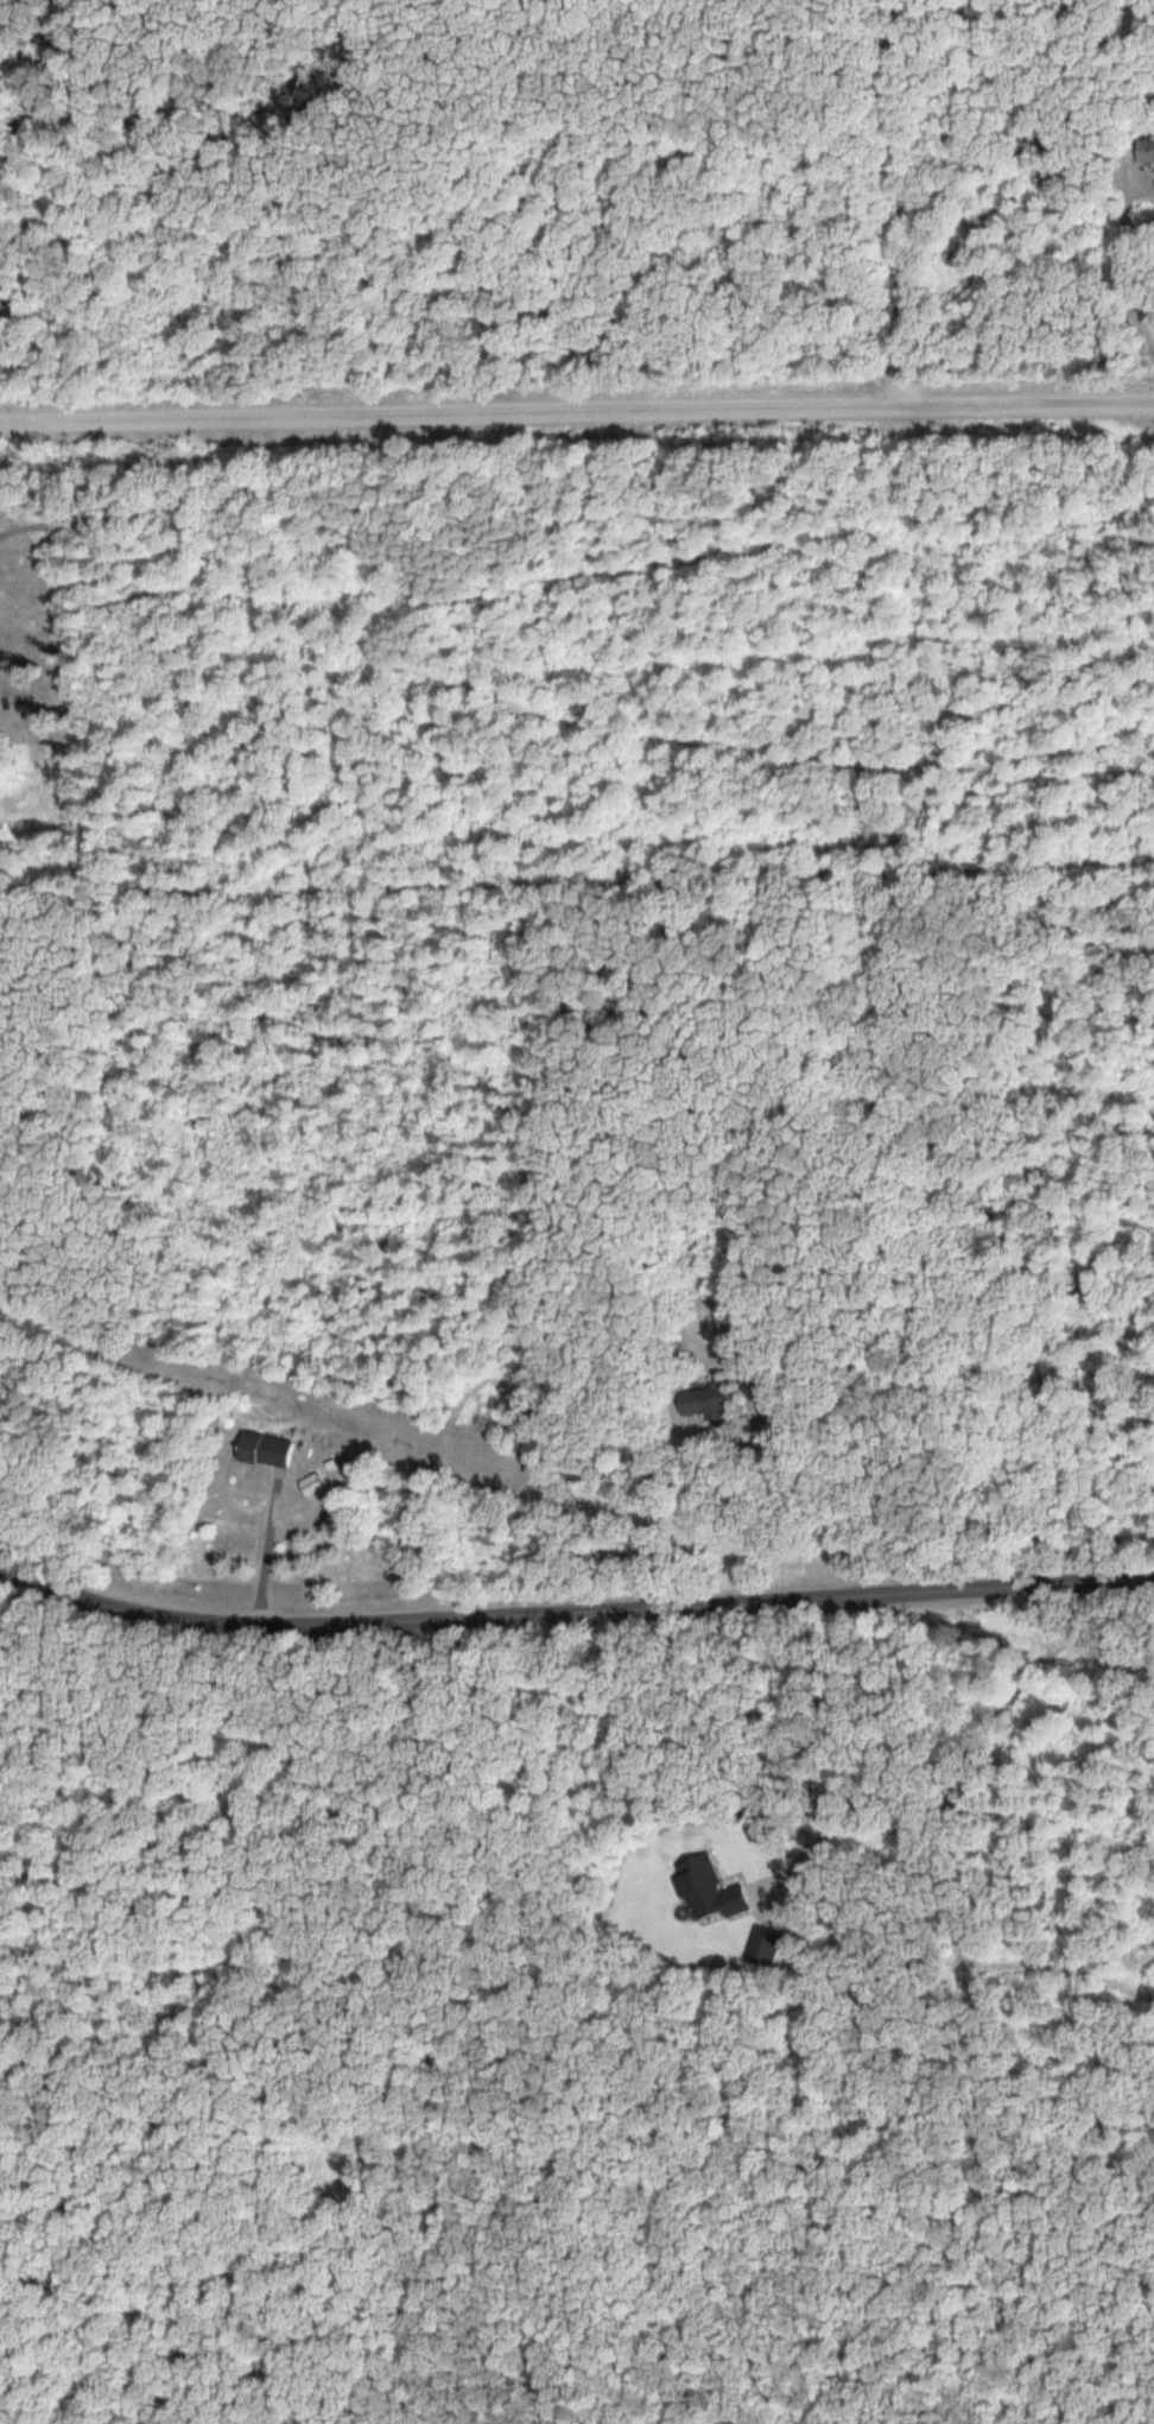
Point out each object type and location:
building: (1147, 151)
road: (911, 198)
building: (0, 291)
road: (576, 409)
building: (704, 1401)
building: (267, 1451)
road: (572, 1610)

